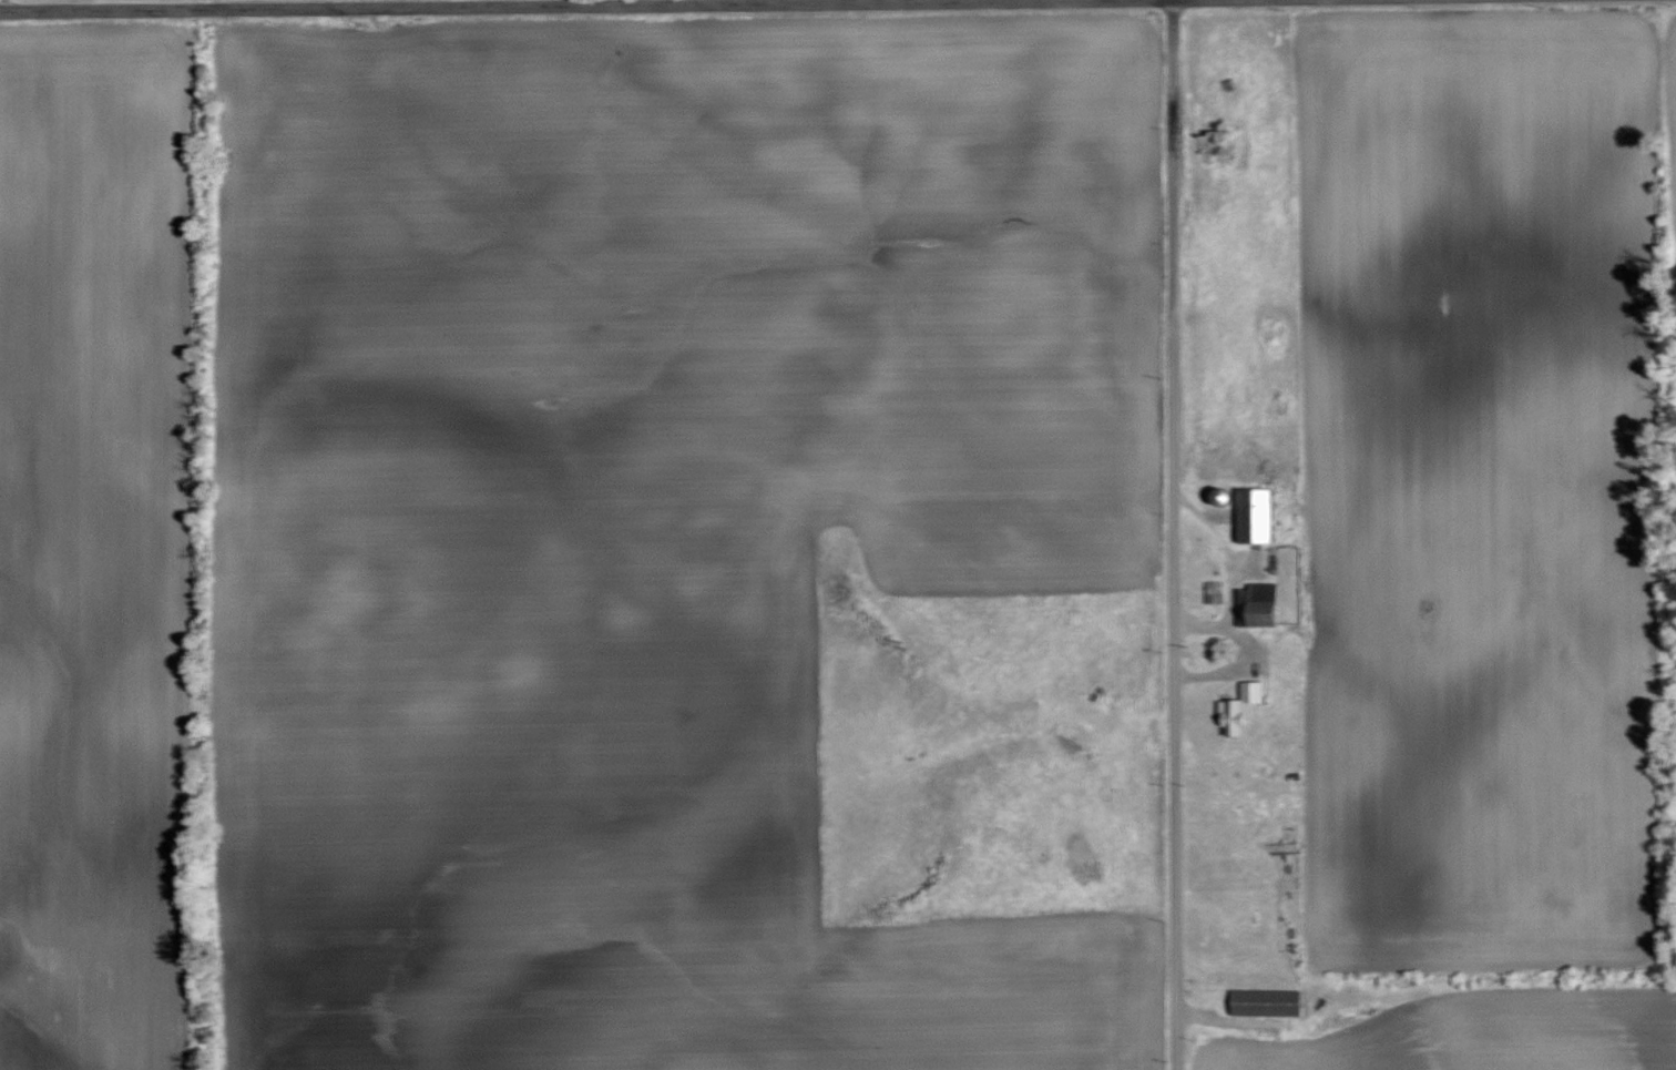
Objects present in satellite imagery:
road: (348, 2)
building: (1218, 140)
building: (1220, 496)
building: (1256, 514)
road: (1174, 534)
building: (1214, 592)
building: (1258, 605)
building: (1241, 709)
building: (1267, 1002)

